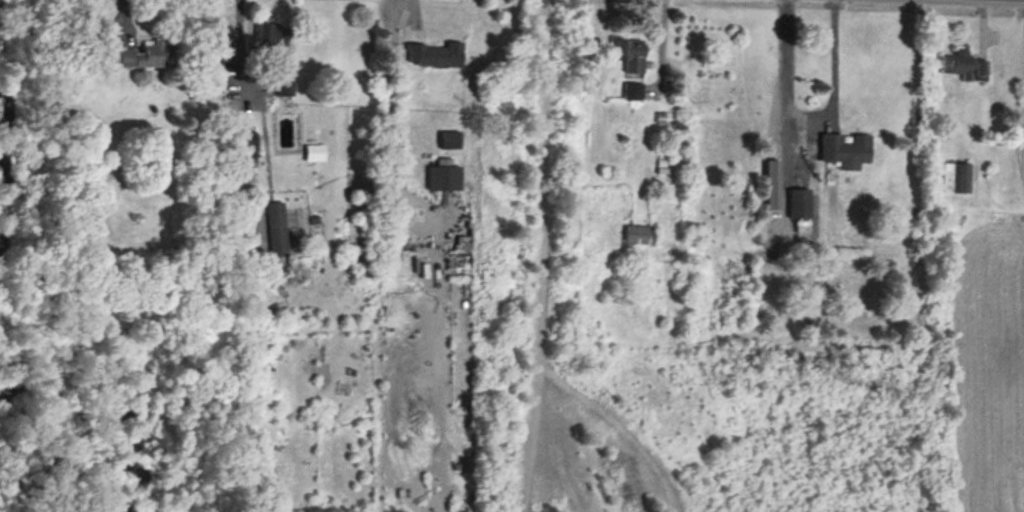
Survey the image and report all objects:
building: (272, 37)
road: (658, 42)
building: (630, 54)
building: (436, 55)
building: (148, 56)
road: (832, 56)
building: (964, 66)
road: (783, 73)
building: (285, 88)
road: (250, 91)
building: (632, 91)
building: (450, 140)
building: (846, 150)
building: (444, 178)
building: (956, 178)
building: (800, 204)
building: (276, 233)
building: (639, 235)

